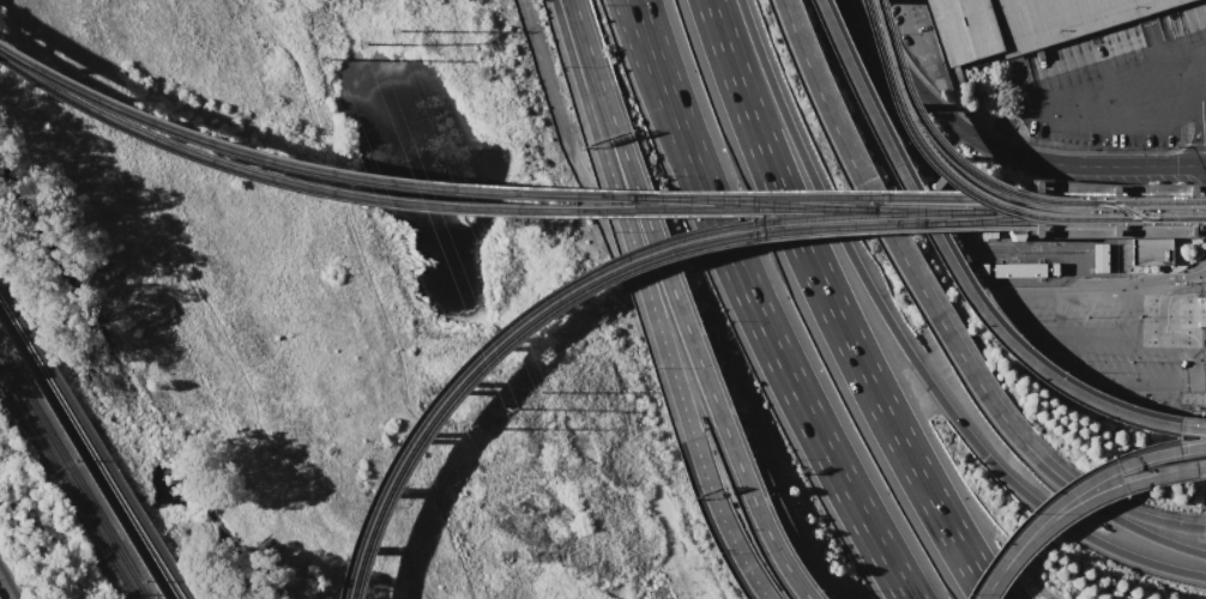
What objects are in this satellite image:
building: (1018, 23)
power tower: (393, 31)
road: (896, 38)
power tower: (361, 43)
road: (644, 55)
power tower: (322, 60)
road: (1127, 85)
road: (947, 121)
railway: (157, 140)
road: (1150, 165)
railway: (987, 182)
road: (973, 187)
railway: (590, 194)
railway: (975, 196)
railway: (747, 201)
airport: (1033, 206)
railway: (599, 208)
railway: (925, 210)
railway: (1121, 210)
traffic signals: (1188, 210)
railway: (1133, 211)
road: (641, 212)
railway: (1021, 212)
railway: (988, 218)
road: (622, 219)
railway: (1061, 222)
road: (891, 240)
building: (1150, 250)
building: (1098, 258)
building: (1017, 270)
road: (955, 274)
railway: (578, 276)
road: (1175, 276)
road: (375, 295)
road: (1164, 296)
railway: (559, 302)
road: (753, 307)
road: (831, 307)
road: (1008, 313)
road: (905, 350)
road: (1147, 385)
power tower: (535, 392)
power tower: (505, 409)
power tower: (465, 428)
railway: (94, 443)
railway: (85, 455)
railway: (73, 476)
railway: (66, 486)
road: (1071, 490)
road: (1078, 506)
road: (1116, 507)
road: (755, 514)
road: (1115, 519)
road: (719, 521)
road: (7, 585)

